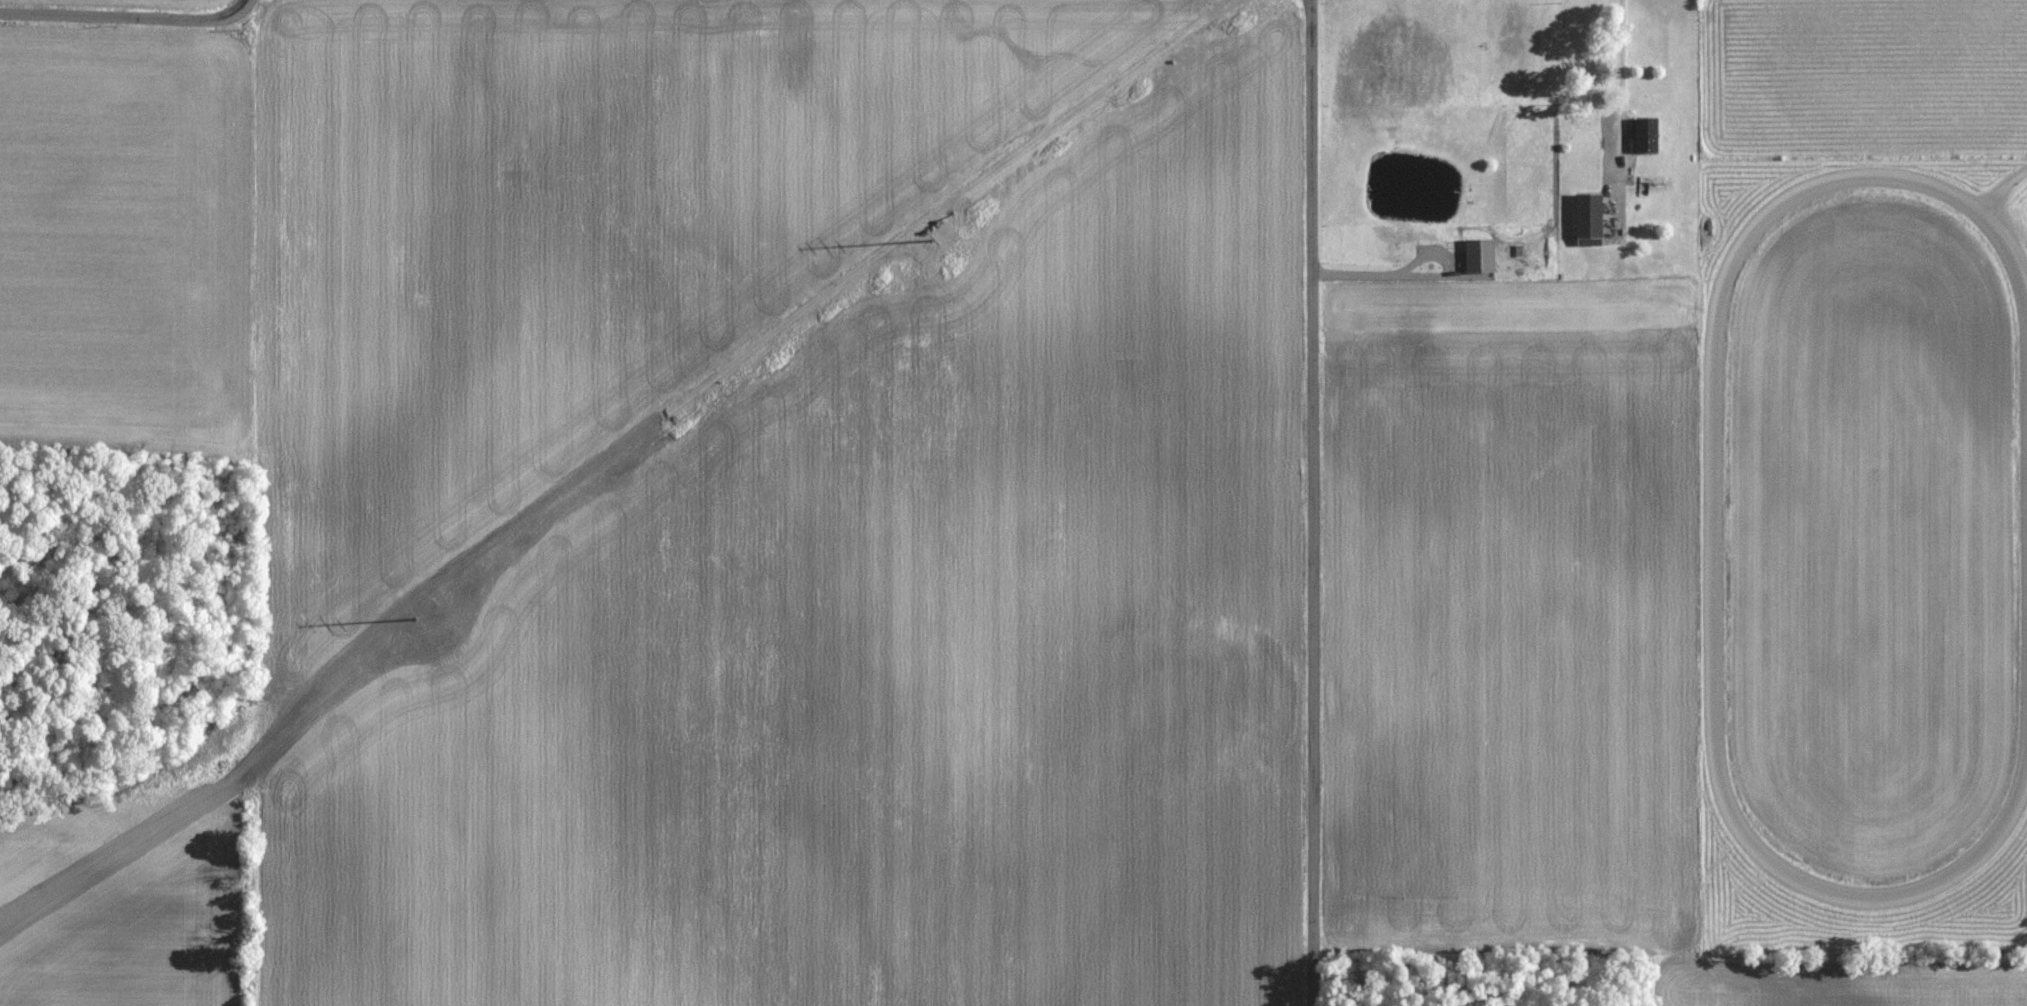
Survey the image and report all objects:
road: (127, 16)
road: (1620, 116)
building: (1643, 136)
building: (1587, 220)
building: (1479, 257)
power tower: (949, 266)
building: (952, 266)
road: (1419, 272)
road: (1312, 502)
power tower: (448, 636)

